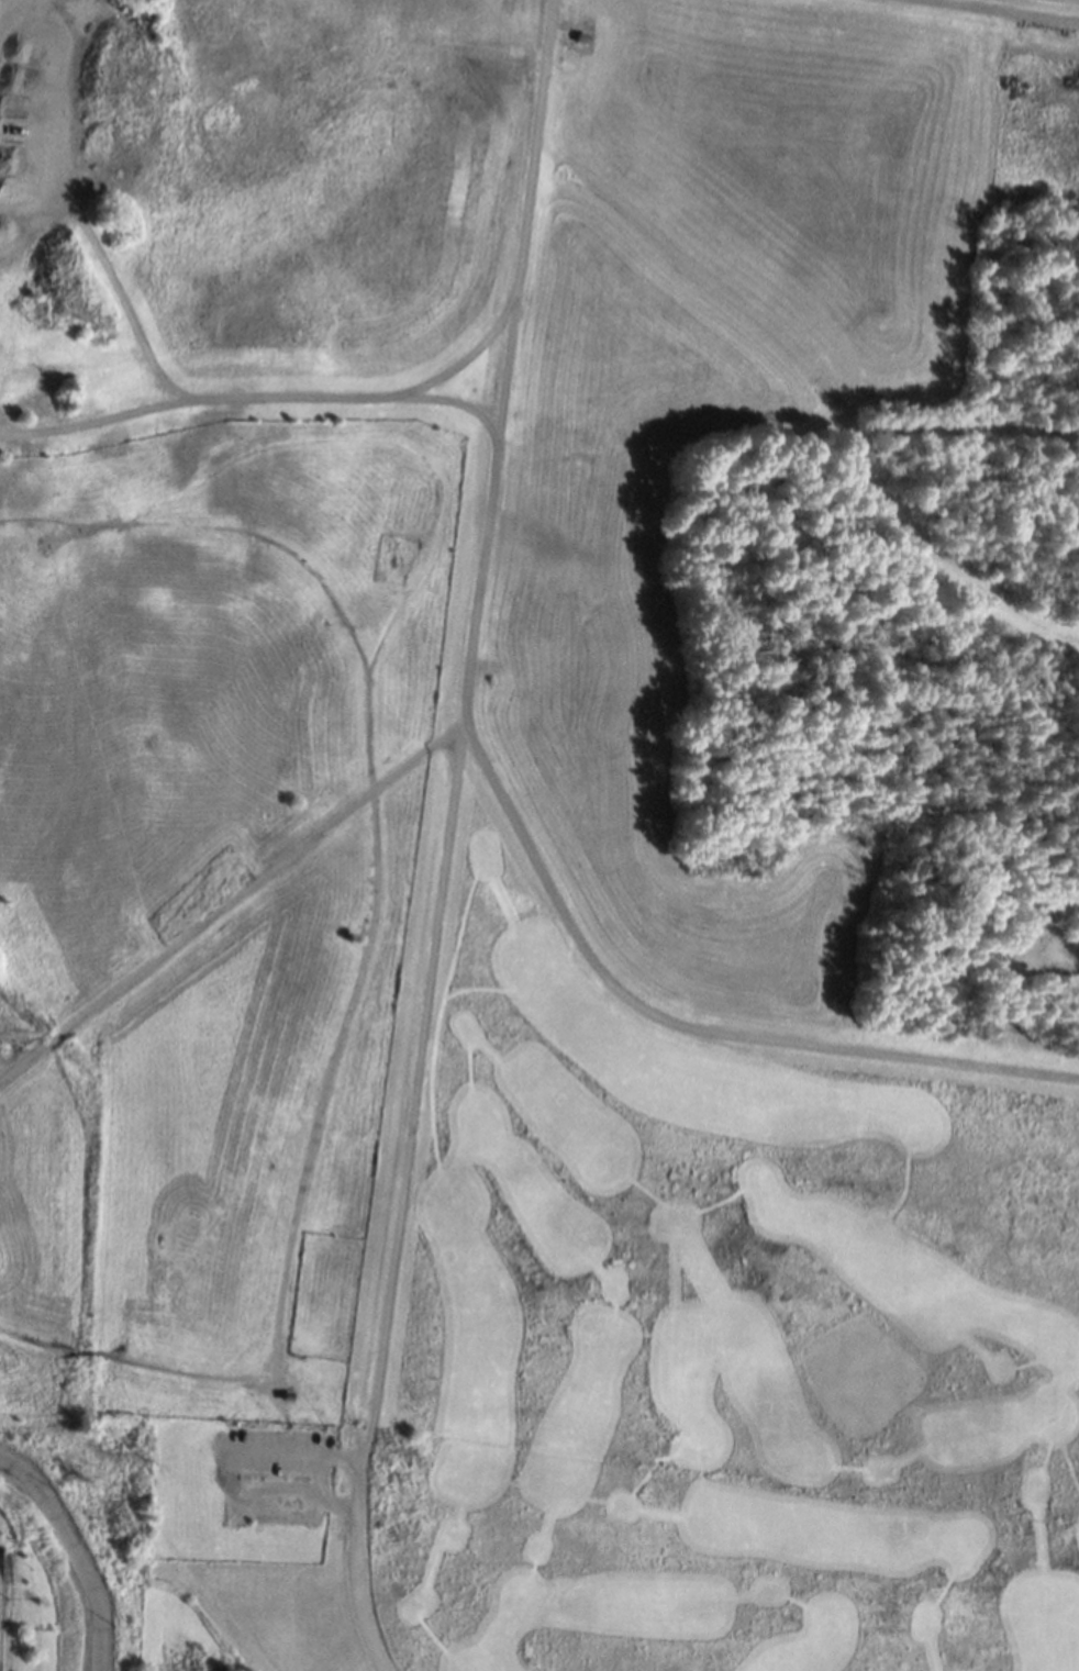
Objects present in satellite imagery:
road: (991, 12)
road: (3, 15)
building: (579, 36)
road: (77, 213)
road: (522, 231)
road: (505, 369)
road: (387, 441)
road: (465, 693)
road: (225, 906)
road: (369, 937)
road: (685, 1024)
building: (285, 1395)
parking lot: (276, 1470)
road: (234, 1472)
road: (73, 1556)
road: (358, 1568)

